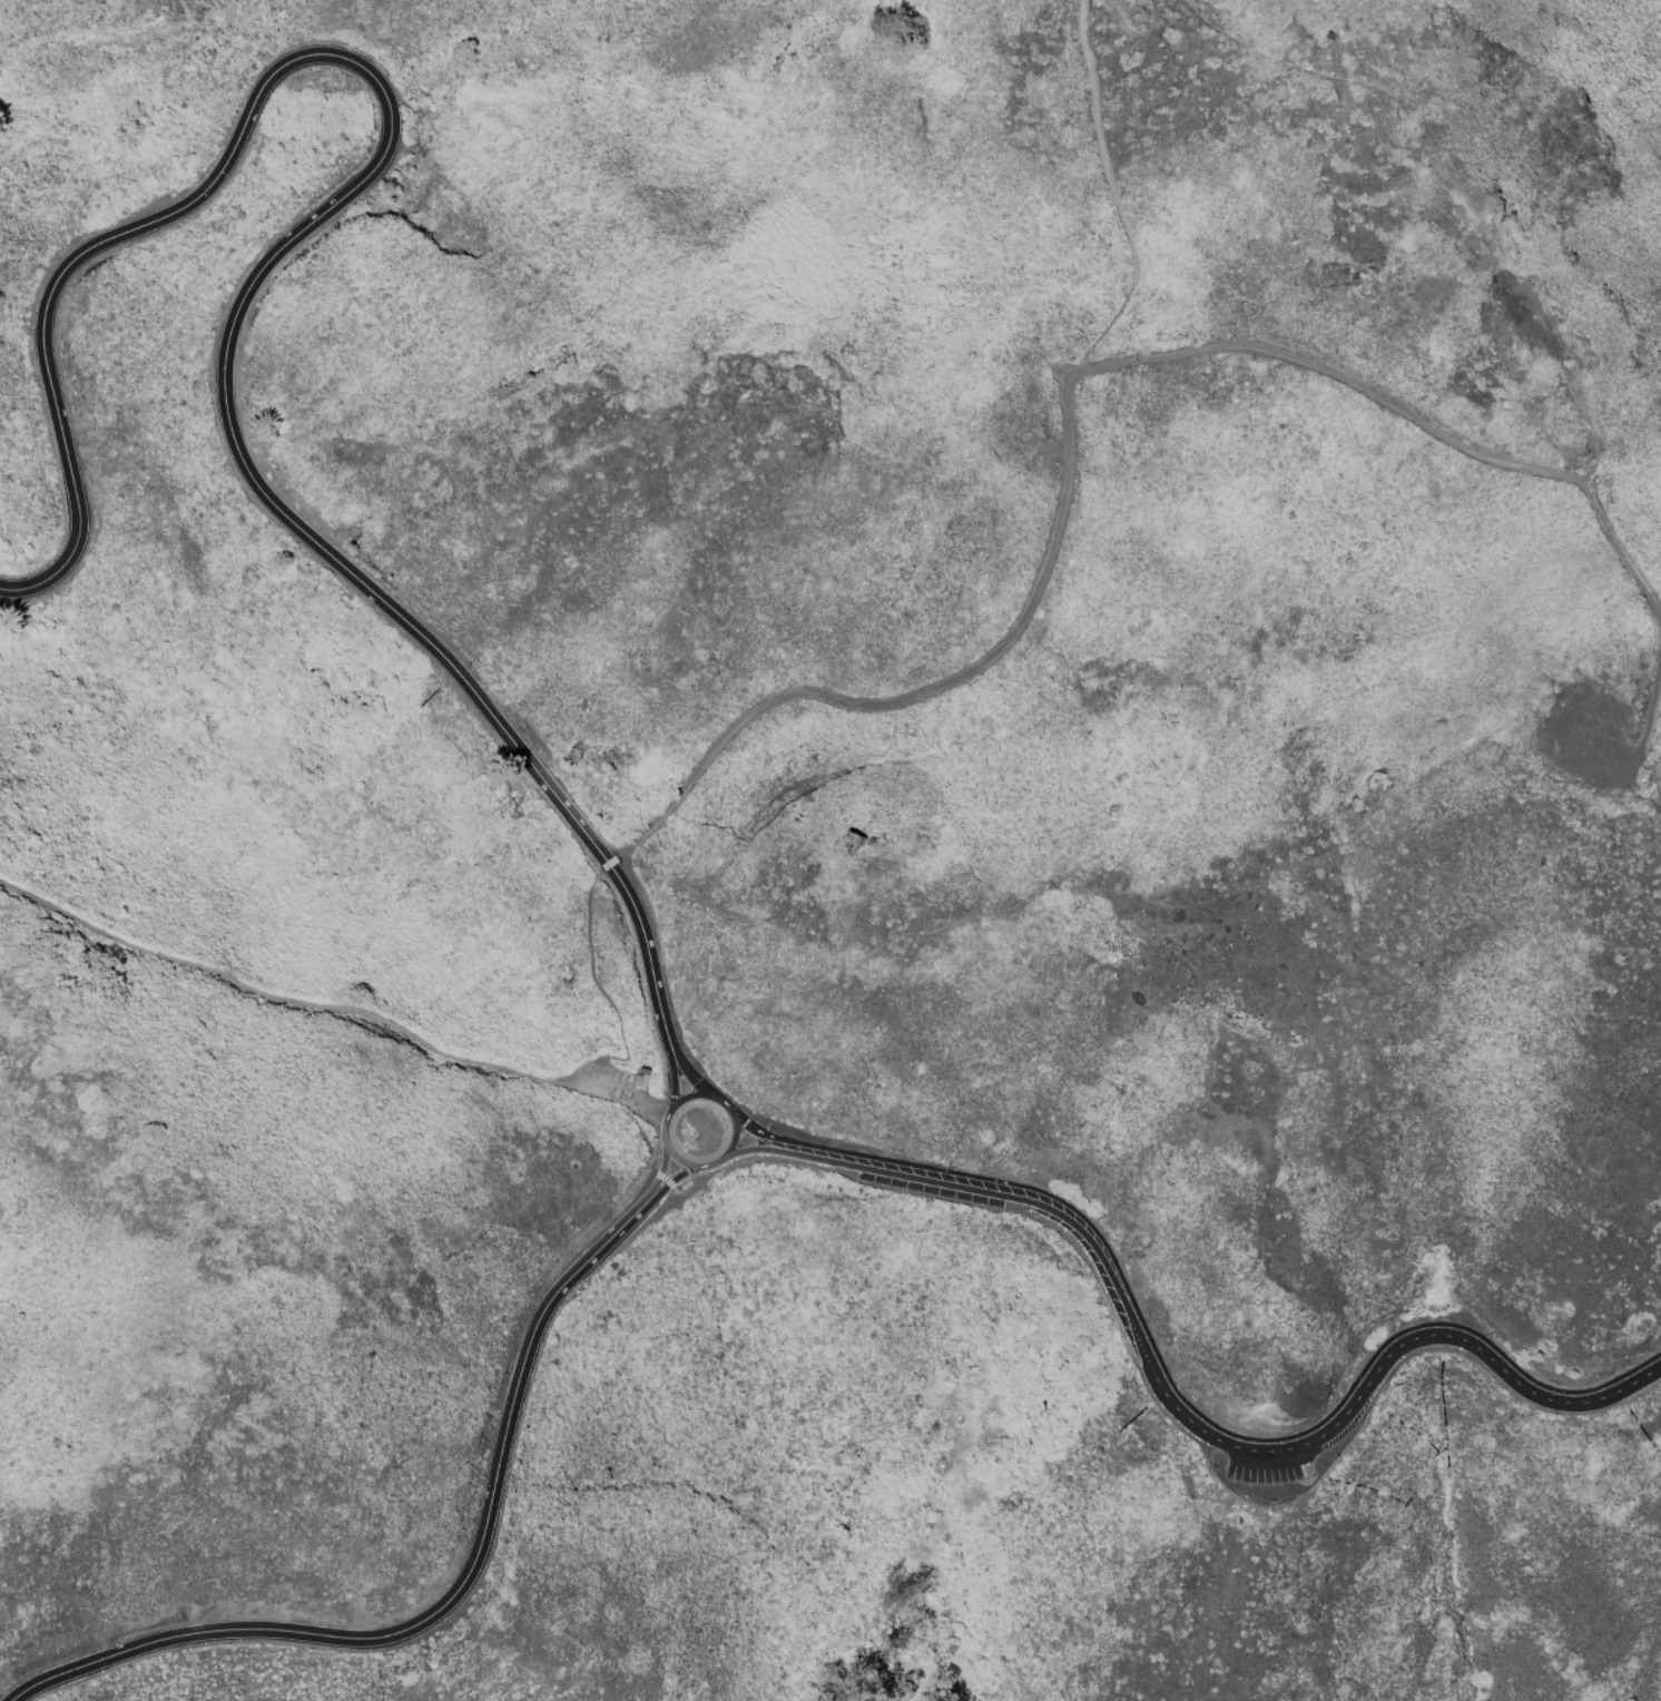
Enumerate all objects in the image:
road: (368, 175)
road: (1113, 194)
road: (1408, 413)
road: (923, 694)
road: (1643, 749)
road: (649, 958)
road: (598, 983)
road: (273, 995)
building: (646, 1070)
road: (690, 1075)
road: (573, 1079)
road: (674, 1081)
parking lot: (620, 1090)
road: (625, 1091)
road: (689, 1095)
road: (723, 1101)
road: (668, 1112)
road: (755, 1130)
road: (664, 1131)
road: (735, 1134)
road: (753, 1148)
road: (679, 1158)
road: (712, 1163)
road: (652, 1169)
road: (660, 1170)
road: (664, 1176)
road: (672, 1178)
parking lot: (932, 1188)
road: (1200, 1419)
parking lot: (1267, 1472)
road: (470, 1587)
road: (445, 1596)

